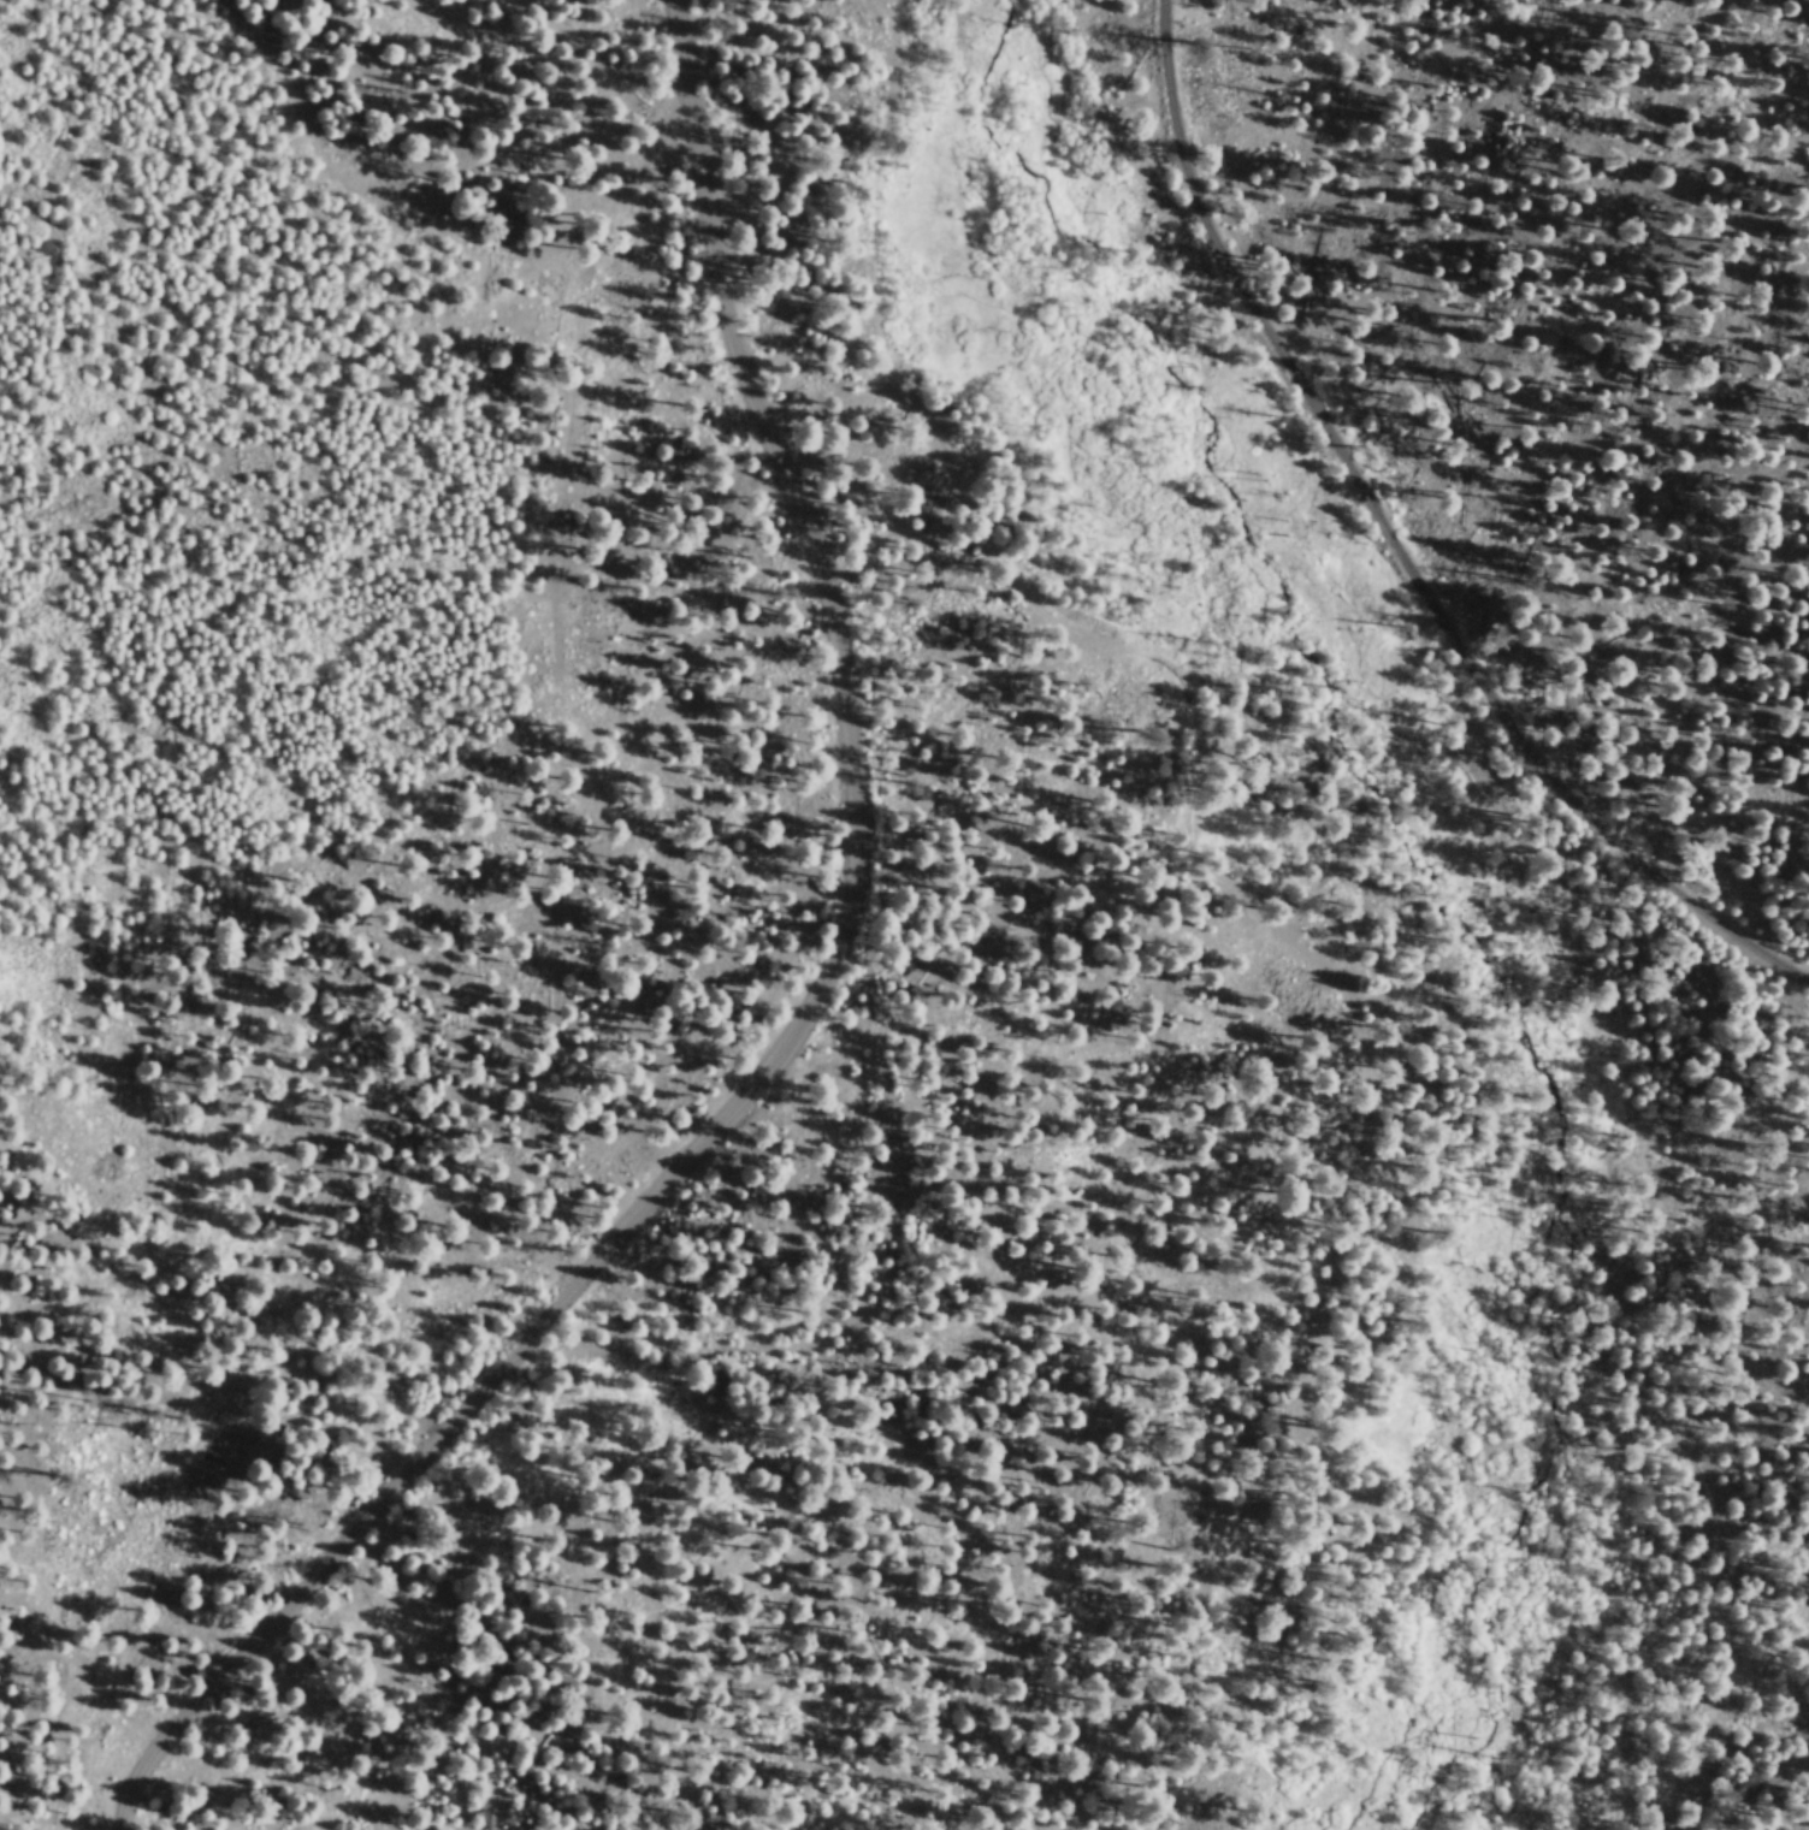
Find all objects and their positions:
road: (1399, 547)
road: (794, 1019)
road: (1213, 1297)

